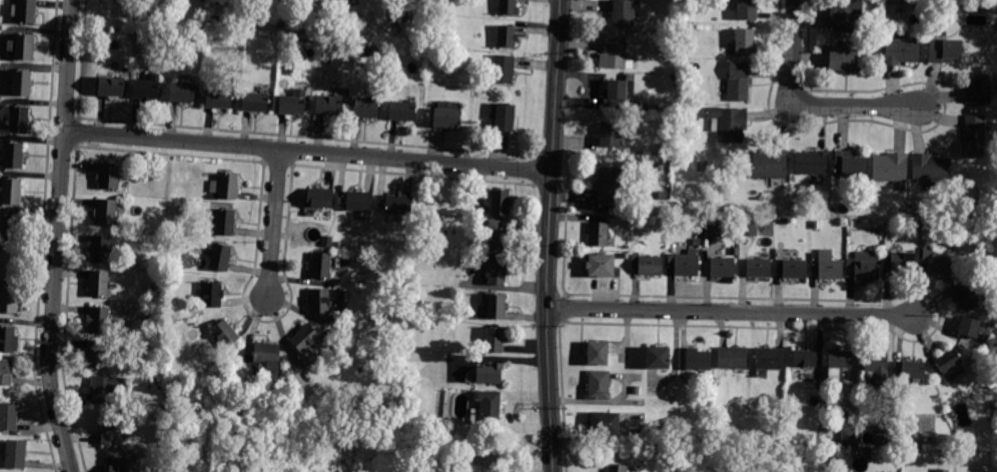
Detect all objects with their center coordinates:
building: (961, 1)
building: (918, 2)
building: (508, 7)
building: (747, 10)
building: (25, 11)
building: (622, 12)
building: (845, 14)
building: (214, 19)
building: (280, 24)
building: (412, 24)
building: (316, 27)
building: (507, 36)
building: (746, 43)
building: (22, 45)
building: (666, 49)
building: (944, 50)
building: (901, 51)
building: (615, 55)
building: (844, 60)
building: (503, 69)
building: (738, 81)
building: (22, 83)
building: (629, 85)
building: (112, 87)
building: (979, 88)
building: (147, 89)
building: (182, 92)
building: (615, 94)
building: (219, 99)
building: (681, 99)
building: (256, 102)
building: (293, 103)
building: (329, 104)
road: (800, 105)
building: (366, 108)
building: (403, 111)
building: (670, 112)
building: (447, 115)
building: (504, 117)
building: (19, 119)
building: (728, 123)
building: (610, 135)
building: (975, 136)
building: (664, 148)
road: (308, 151)
building: (13, 155)
building: (811, 163)
building: (849, 164)
building: (770, 166)
building: (890, 167)
building: (930, 167)
building: (108, 176)
building: (225, 187)
building: (610, 187)
building: (12, 191)
building: (320, 198)
building: (360, 201)
building: (500, 202)
building: (399, 205)
building: (106, 212)
building: (664, 221)
building: (225, 222)
road: (273, 223)
building: (713, 227)
building: (749, 227)
building: (10, 228)
building: (916, 228)
building: (599, 234)
road: (550, 236)
road: (57, 237)
building: (498, 237)
building: (696, 242)
building: (122, 247)
building: (101, 248)
building: (882, 248)
building: (734, 251)
building: (625, 256)
building: (220, 257)
building: (940, 260)
building: (903, 261)
building: (964, 261)
building: (11, 264)
building: (684, 264)
building: (321, 265)
building: (650, 265)
building: (600, 266)
building: (829, 266)
building: (863, 266)
building: (722, 267)
building: (758, 268)
building: (794, 269)
building: (497, 272)
building: (99, 283)
building: (212, 294)
building: (967, 298)
building: (8, 300)
building: (319, 301)
building: (496, 306)
road: (731, 313)
building: (99, 319)
building: (969, 327)
building: (226, 334)
building: (305, 338)
building: (8, 340)
building: (495, 340)
building: (97, 353)
building: (597, 353)
building: (978, 354)
building: (268, 355)
building: (732, 357)
building: (658, 358)
building: (769, 358)
building: (805, 358)
building: (698, 359)
building: (948, 361)
building: (838, 363)
building: (876, 364)
building: (913, 369)
building: (6, 372)
building: (490, 374)
building: (599, 385)
building: (107, 388)
building: (273, 392)
building: (168, 394)
building: (639, 403)
building: (994, 406)
building: (486, 409)
building: (8, 416)
building: (605, 423)
building: (993, 425)
building: (111, 433)
building: (883, 435)
building: (848, 436)
building: (781, 441)
building: (161, 448)
building: (16, 454)
building: (134, 457)
building: (116, 464)
building: (616, 468)
building: (942, 470)
building: (882, 471)

